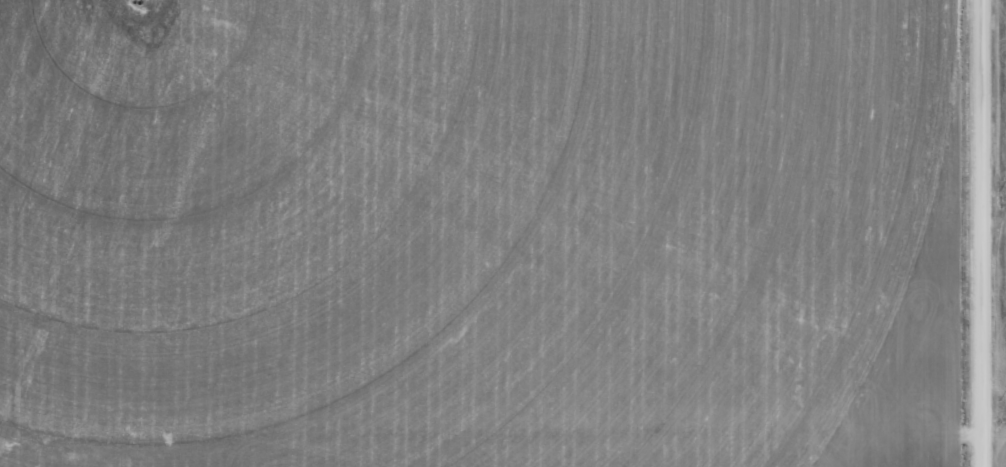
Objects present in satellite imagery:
road: (985, 233)
road: (493, 420)

